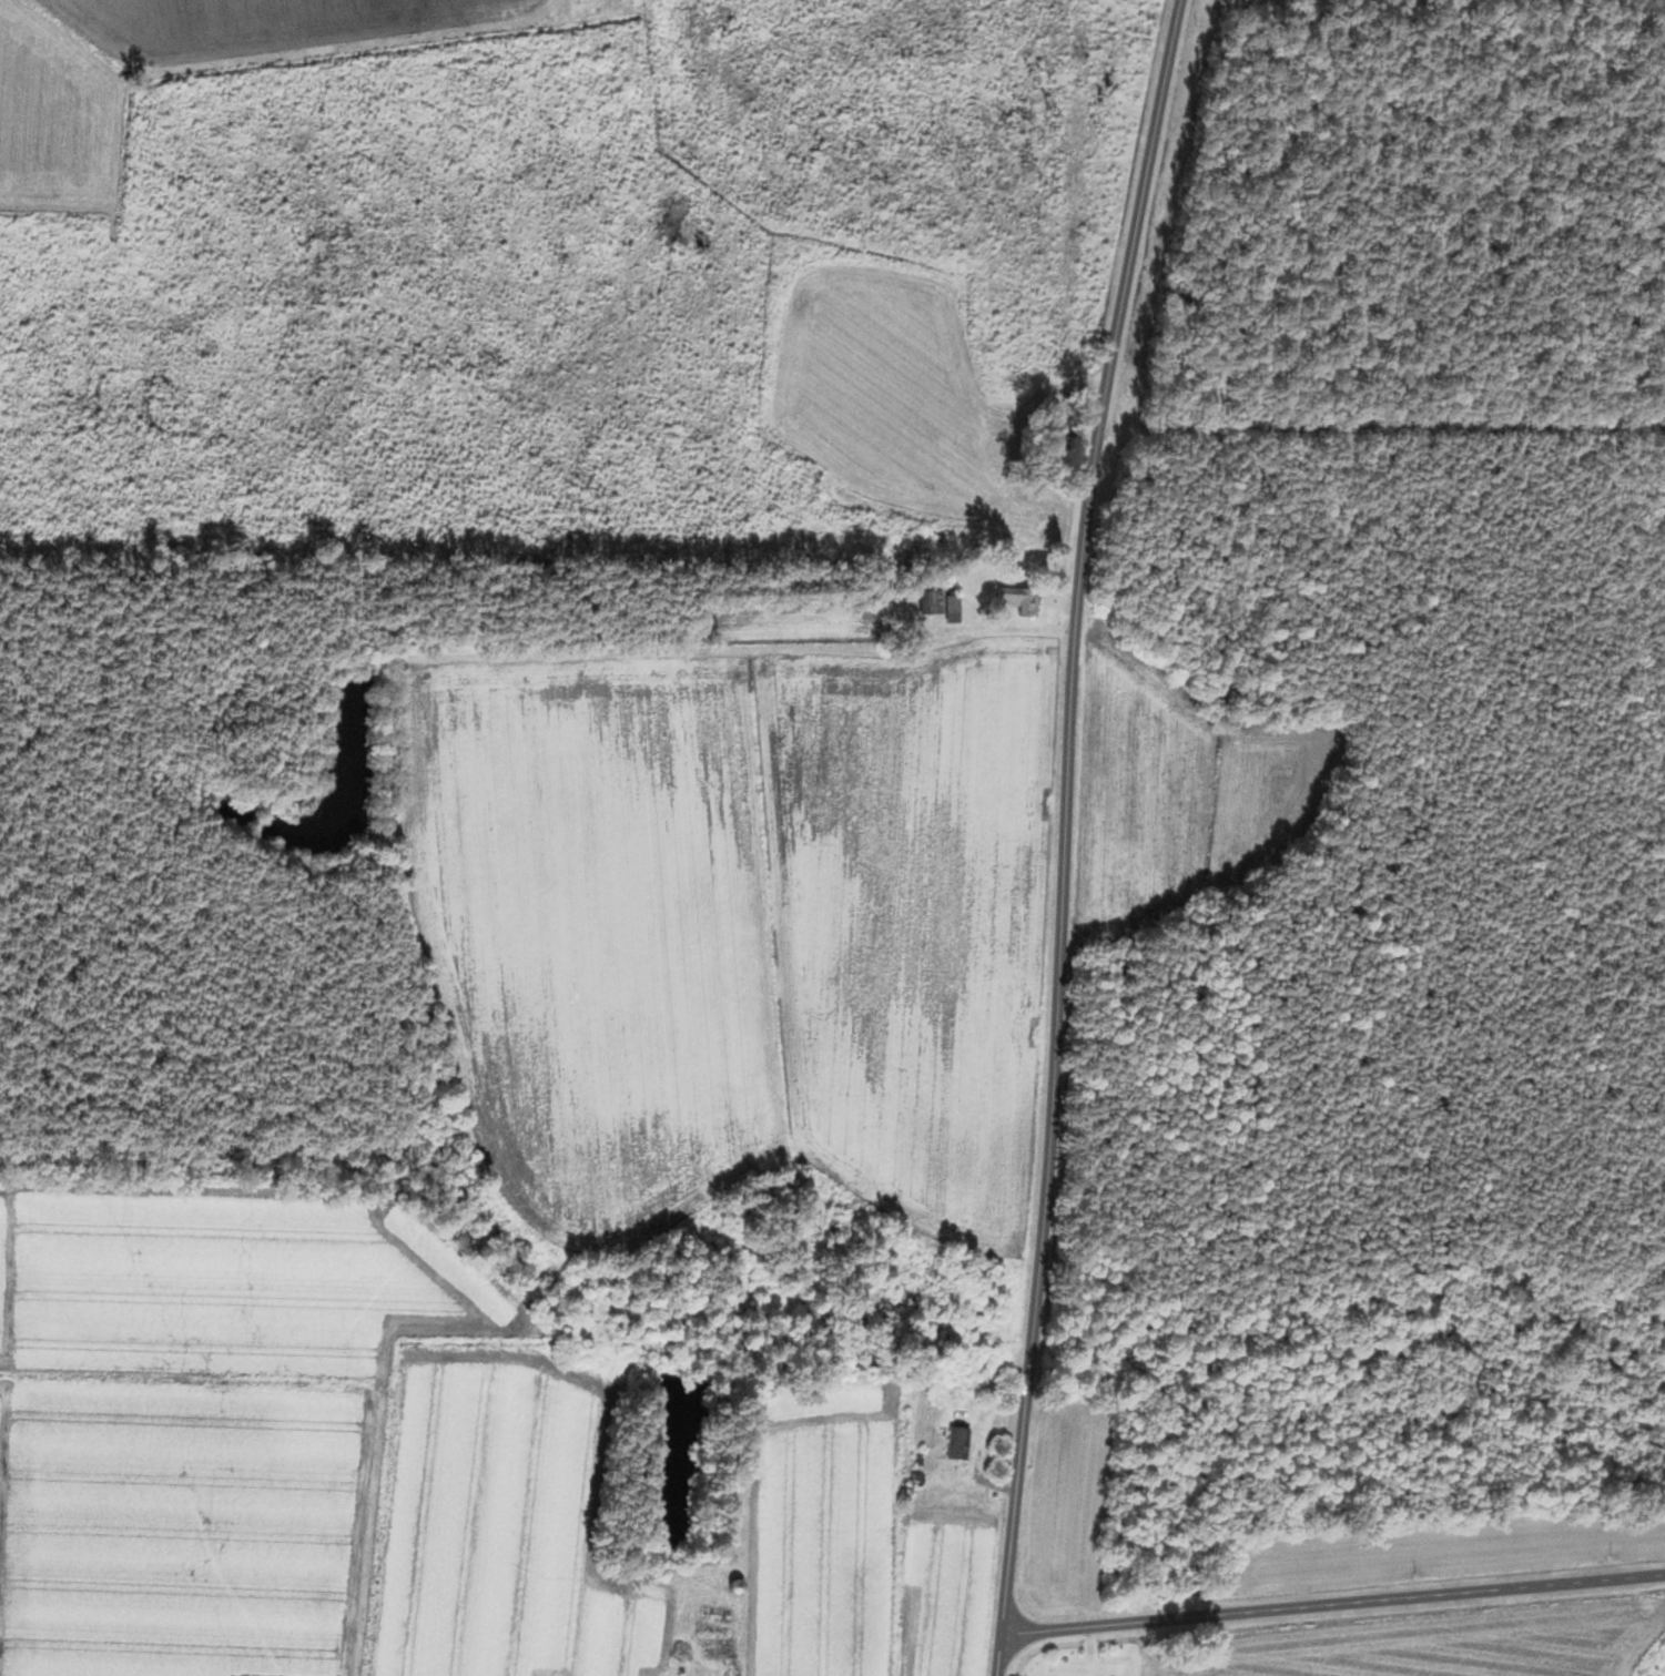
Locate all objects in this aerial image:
building: (1021, 600)
building: (936, 602)
building: (954, 609)
road: (1058, 833)
building: (960, 1442)
road: (1327, 1589)

